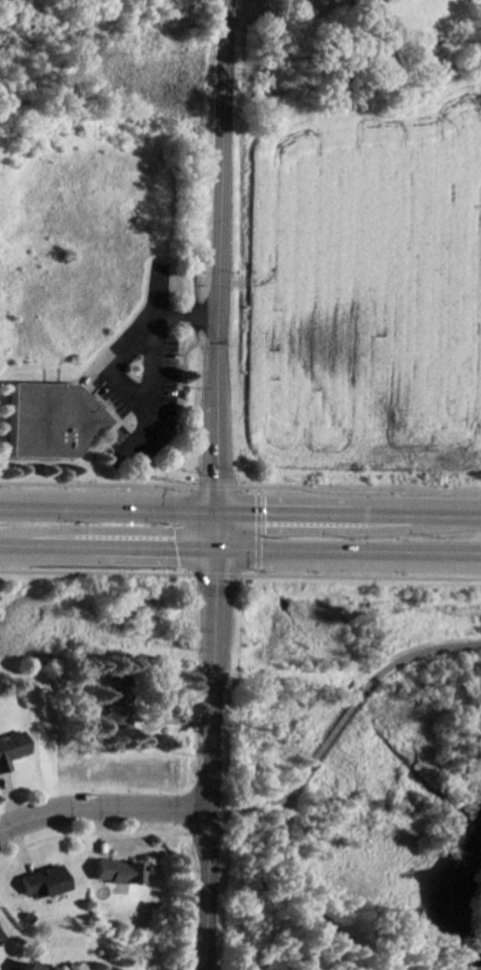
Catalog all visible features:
road: (220, 253)
crop: (353, 292)
road: (116, 365)
building: (49, 420)
road: (107, 505)
traffic signals: (215, 507)
road: (348, 510)
road: (111, 530)
road: (341, 531)
road: (213, 532)
road: (105, 555)
traffic signals: (211, 557)
road: (346, 558)
road: (415, 654)
building: (118, 700)
road: (330, 735)
building: (10, 747)
road: (206, 763)
park: (348, 772)
road: (244, 808)
road: (101, 811)
road: (213, 832)
road: (196, 833)
building: (115, 871)
building: (39, 882)
river: (446, 884)
road: (294, 893)
building: (25, 966)

